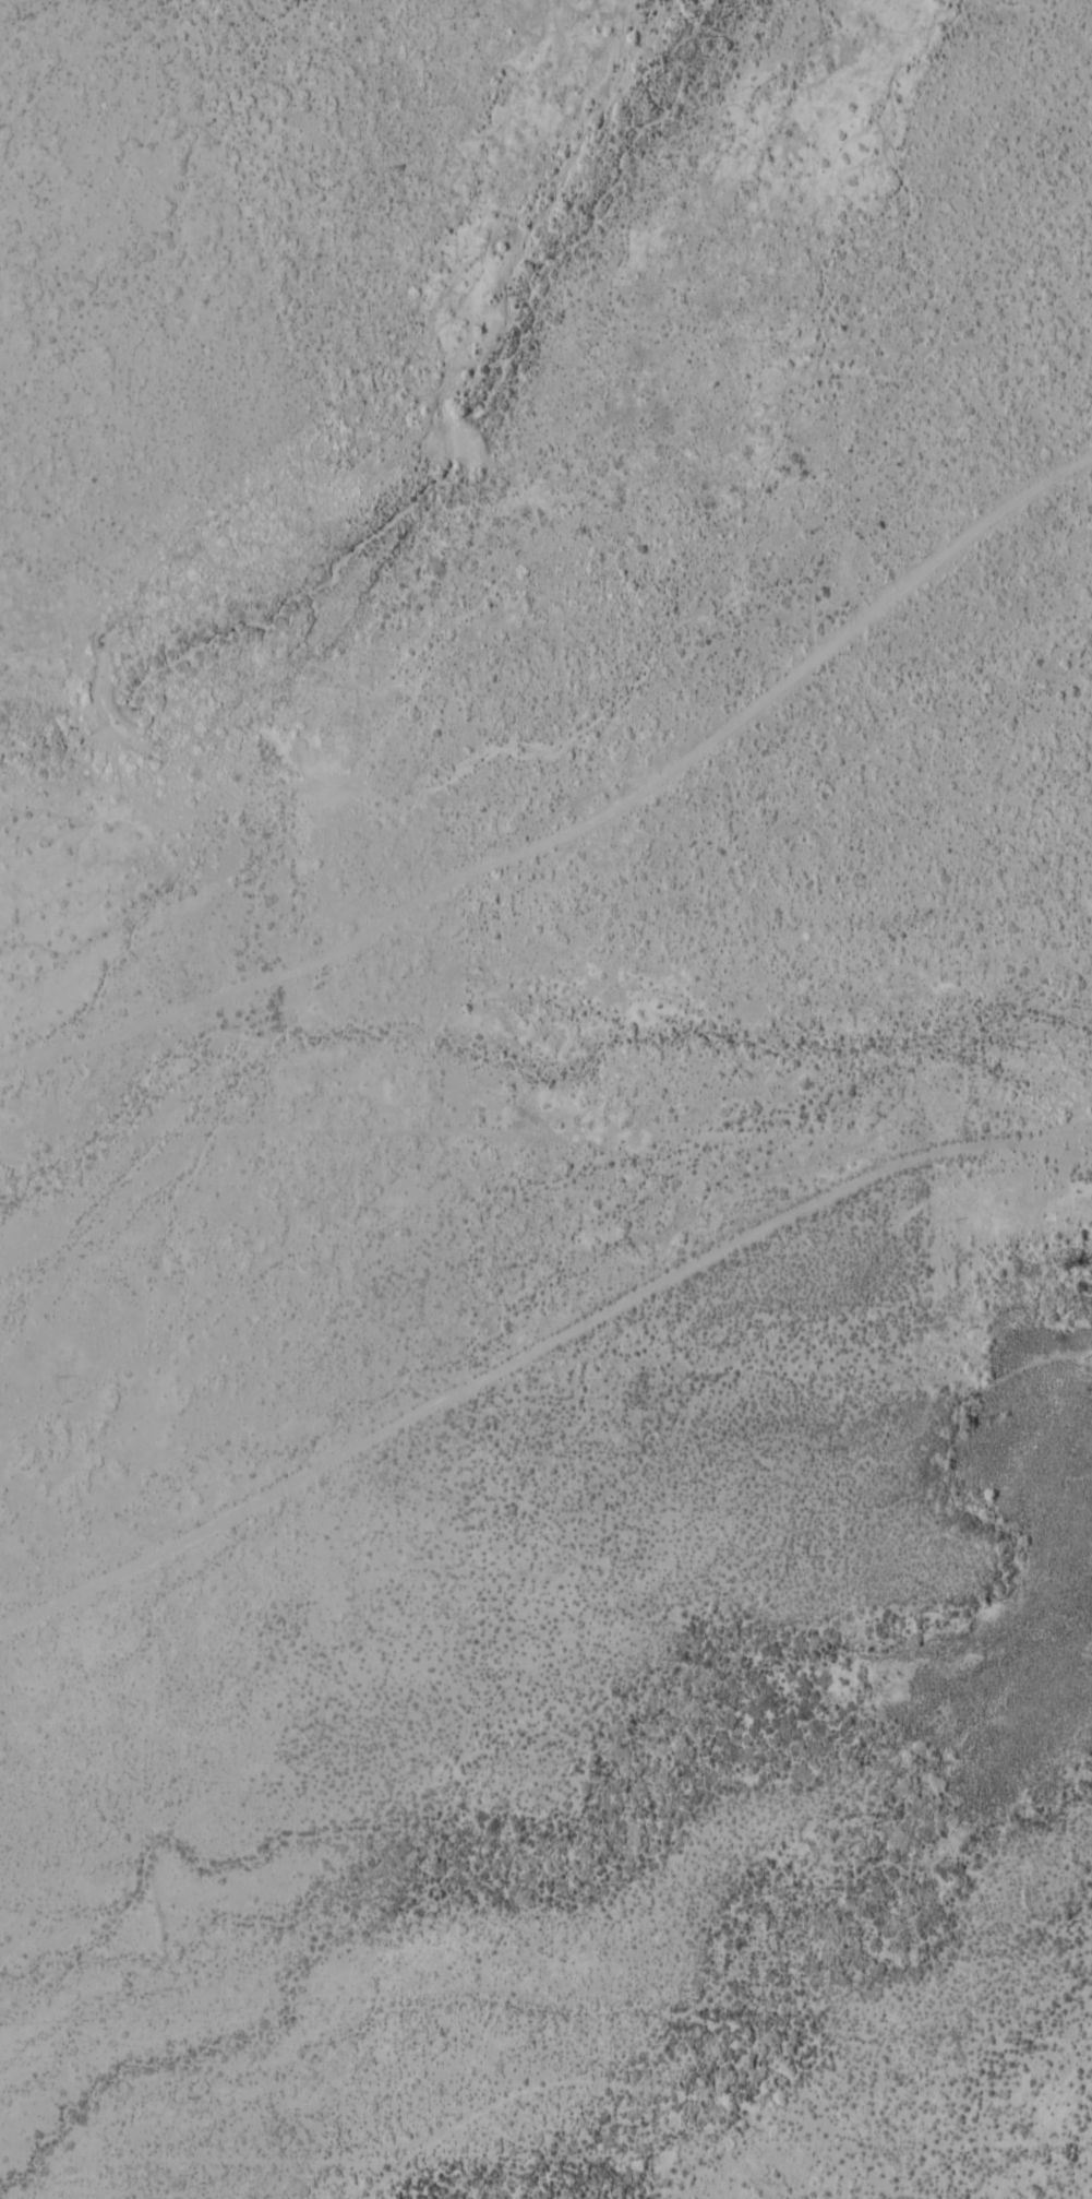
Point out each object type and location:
road: (580, 827)
road: (1056, 1152)
building: (1049, 1217)
building: (1085, 1234)
road: (537, 1350)

